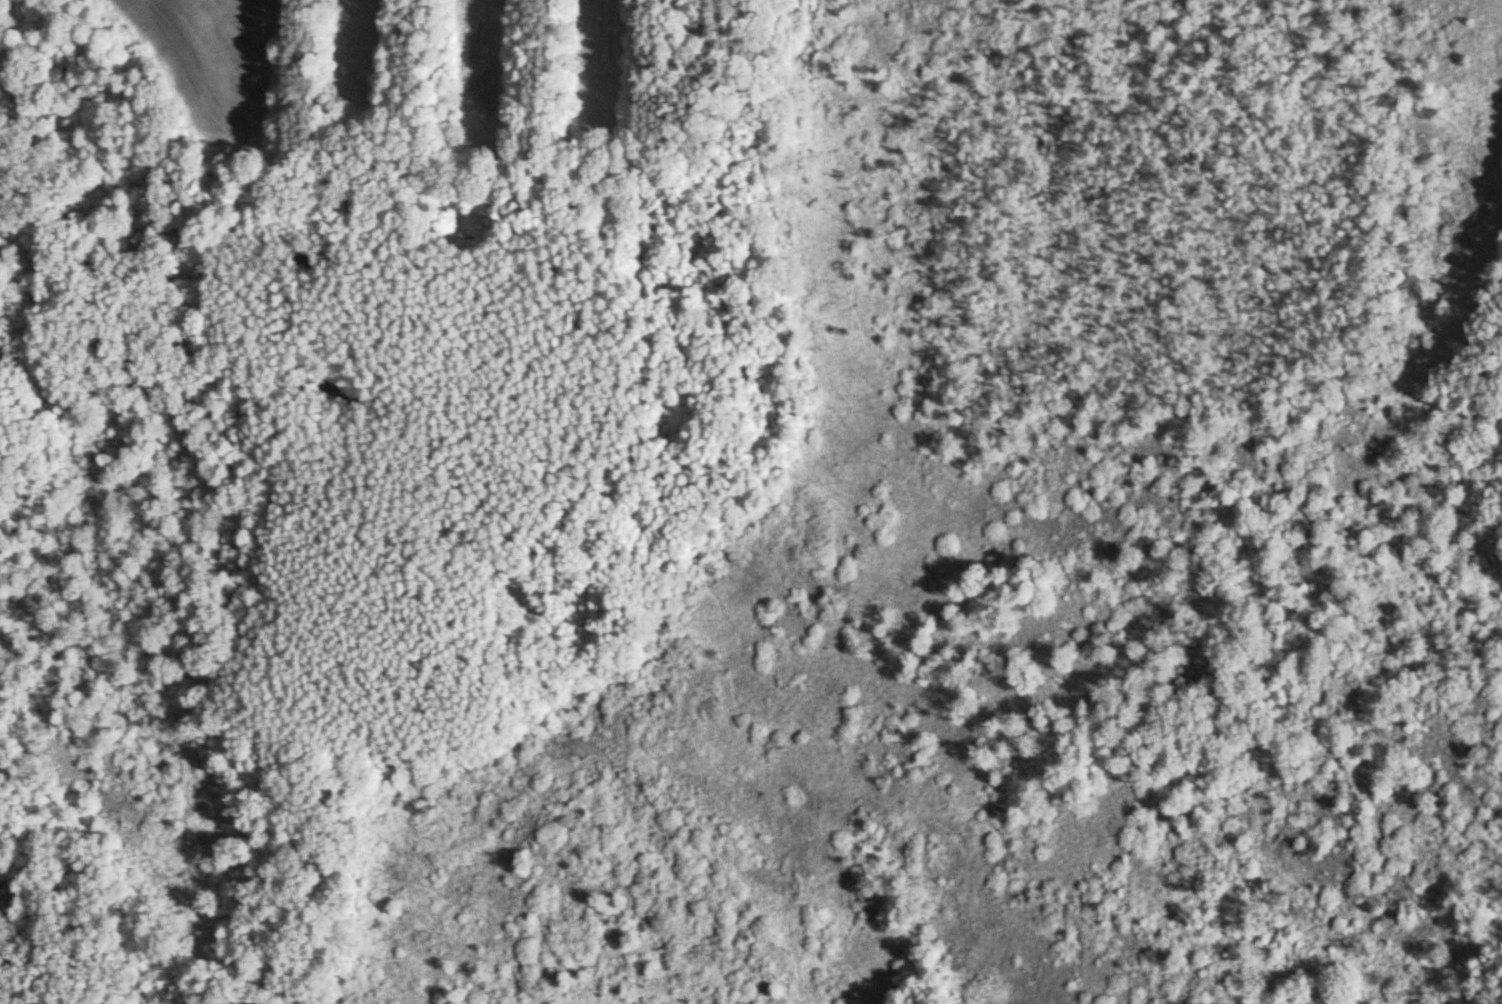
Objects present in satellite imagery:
road: (6, 93)

